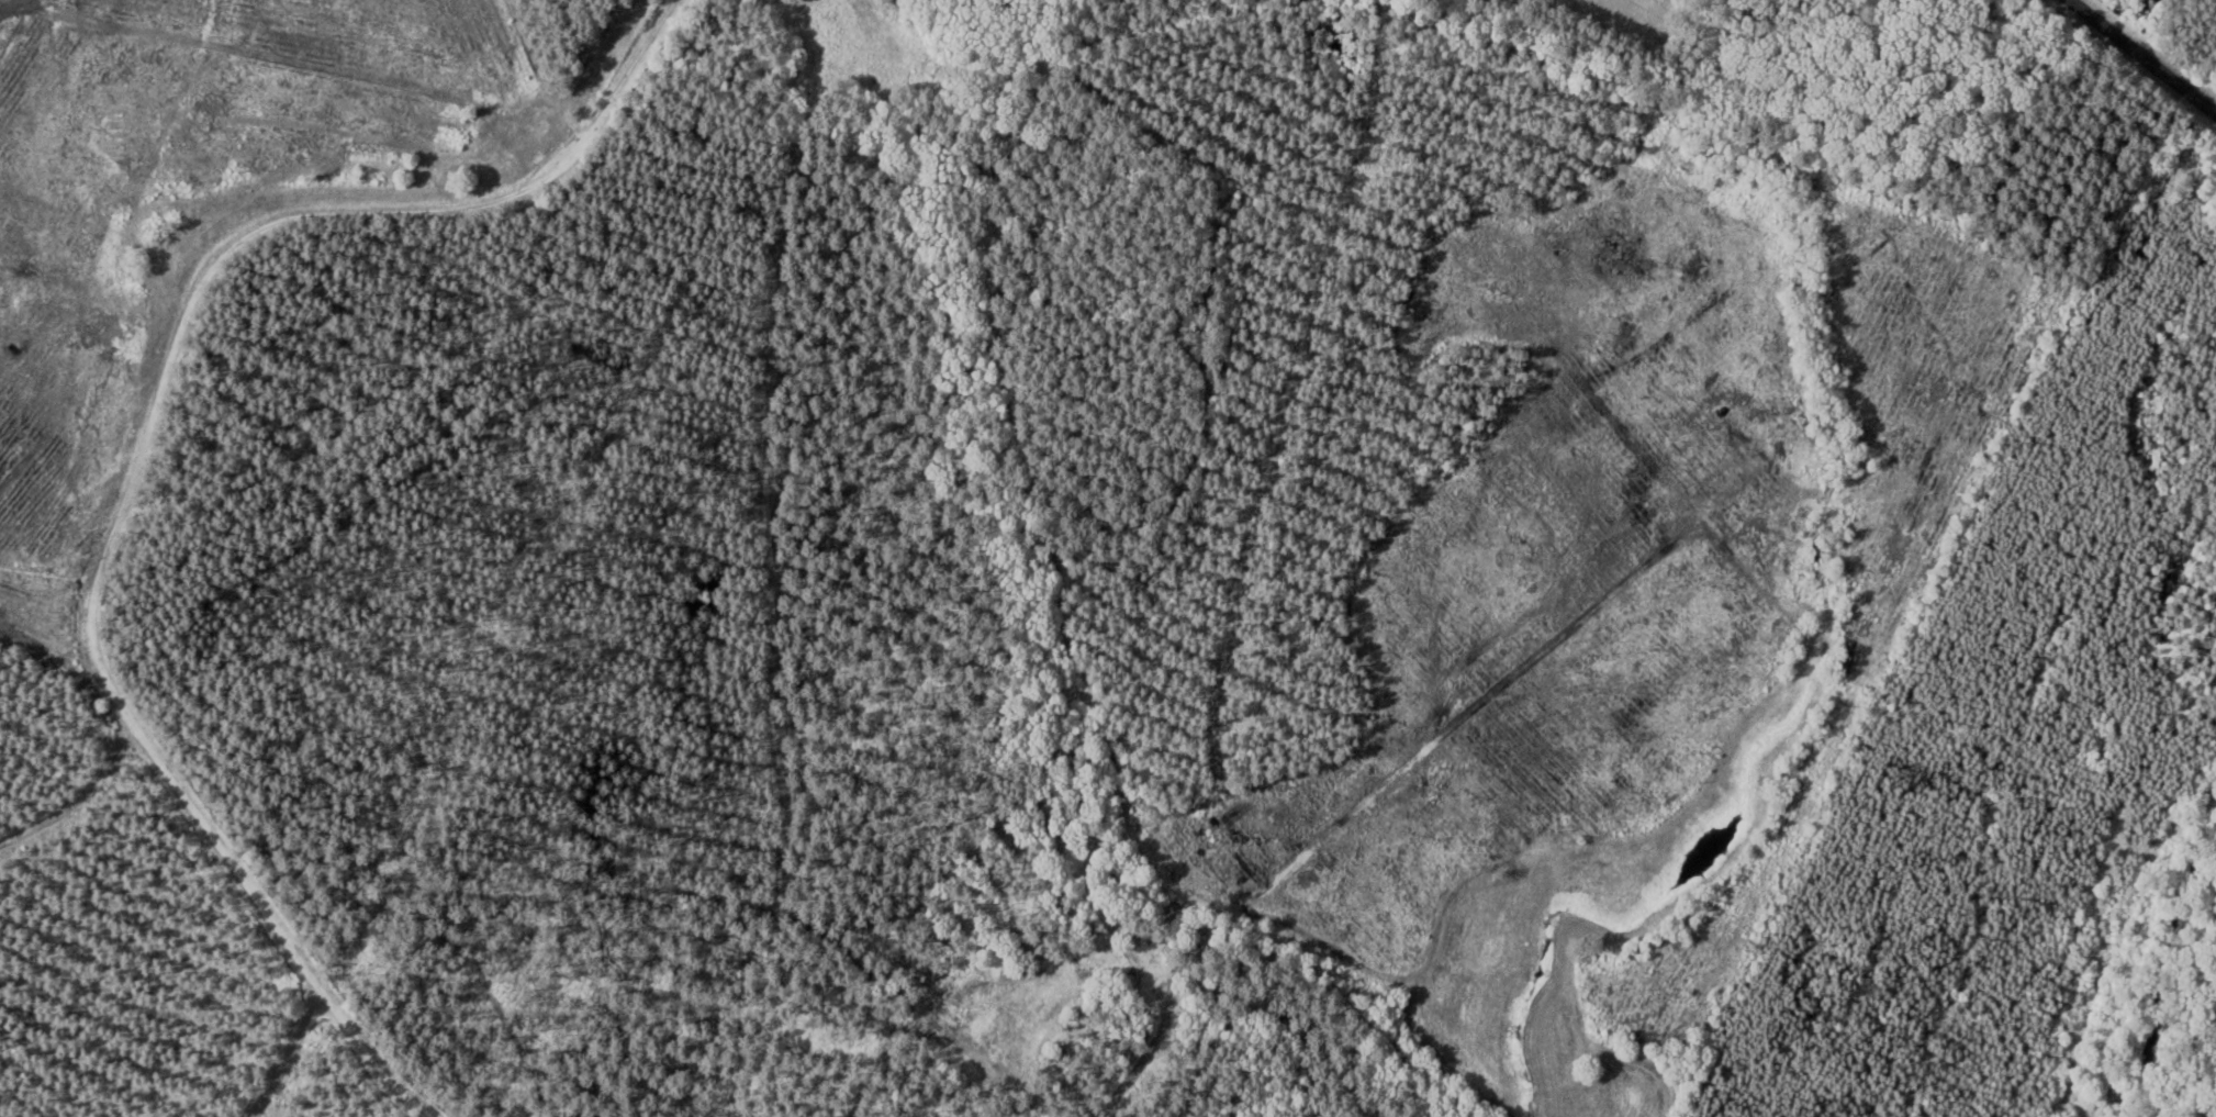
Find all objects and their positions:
road: (2134, 64)

